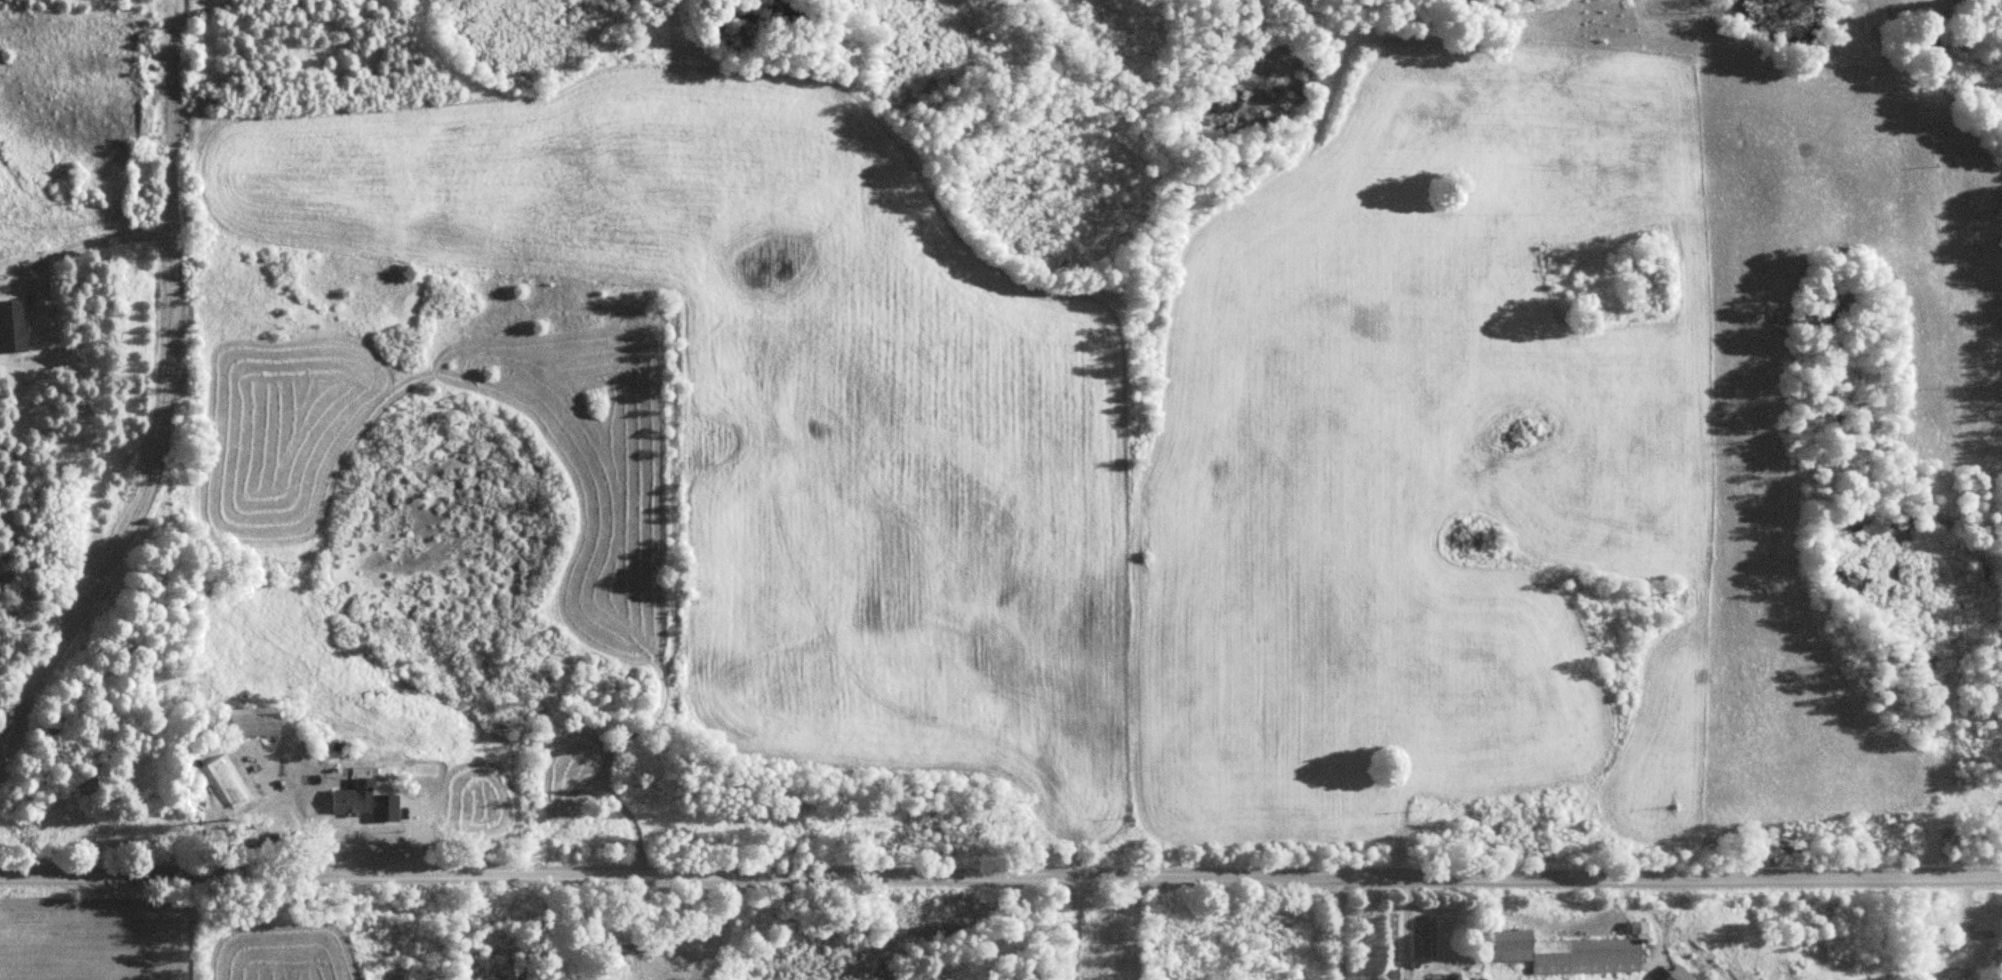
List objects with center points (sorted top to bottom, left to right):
building: (14, 326)
building: (258, 721)
building: (354, 801)
road: (1001, 876)
road: (1071, 928)
road: (1335, 929)
building: (628, 952)
building: (1576, 952)
building: (1956, 973)
building: (1390, 974)
building: (1449, 979)
building: (1480, 979)

